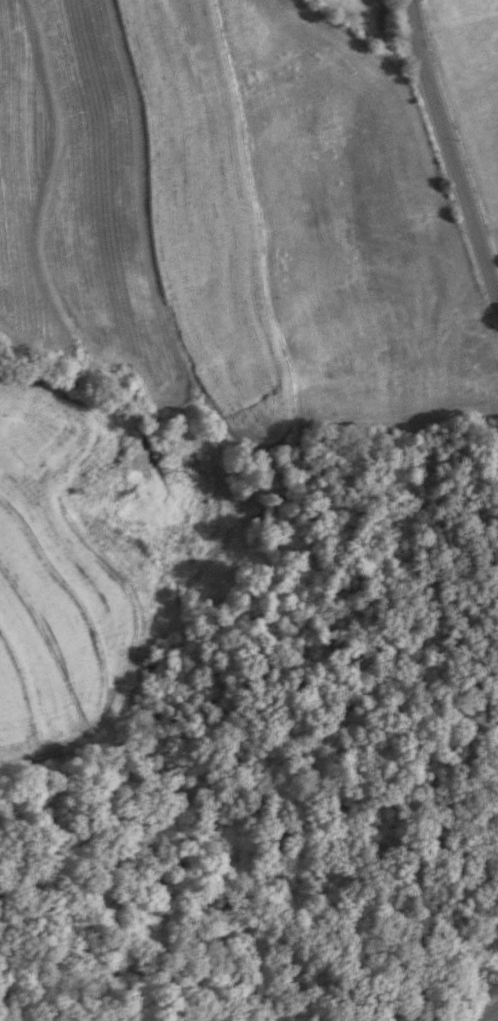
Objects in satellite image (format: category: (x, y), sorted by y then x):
road: (449, 153)
building: (481, 675)
road: (493, 1017)

